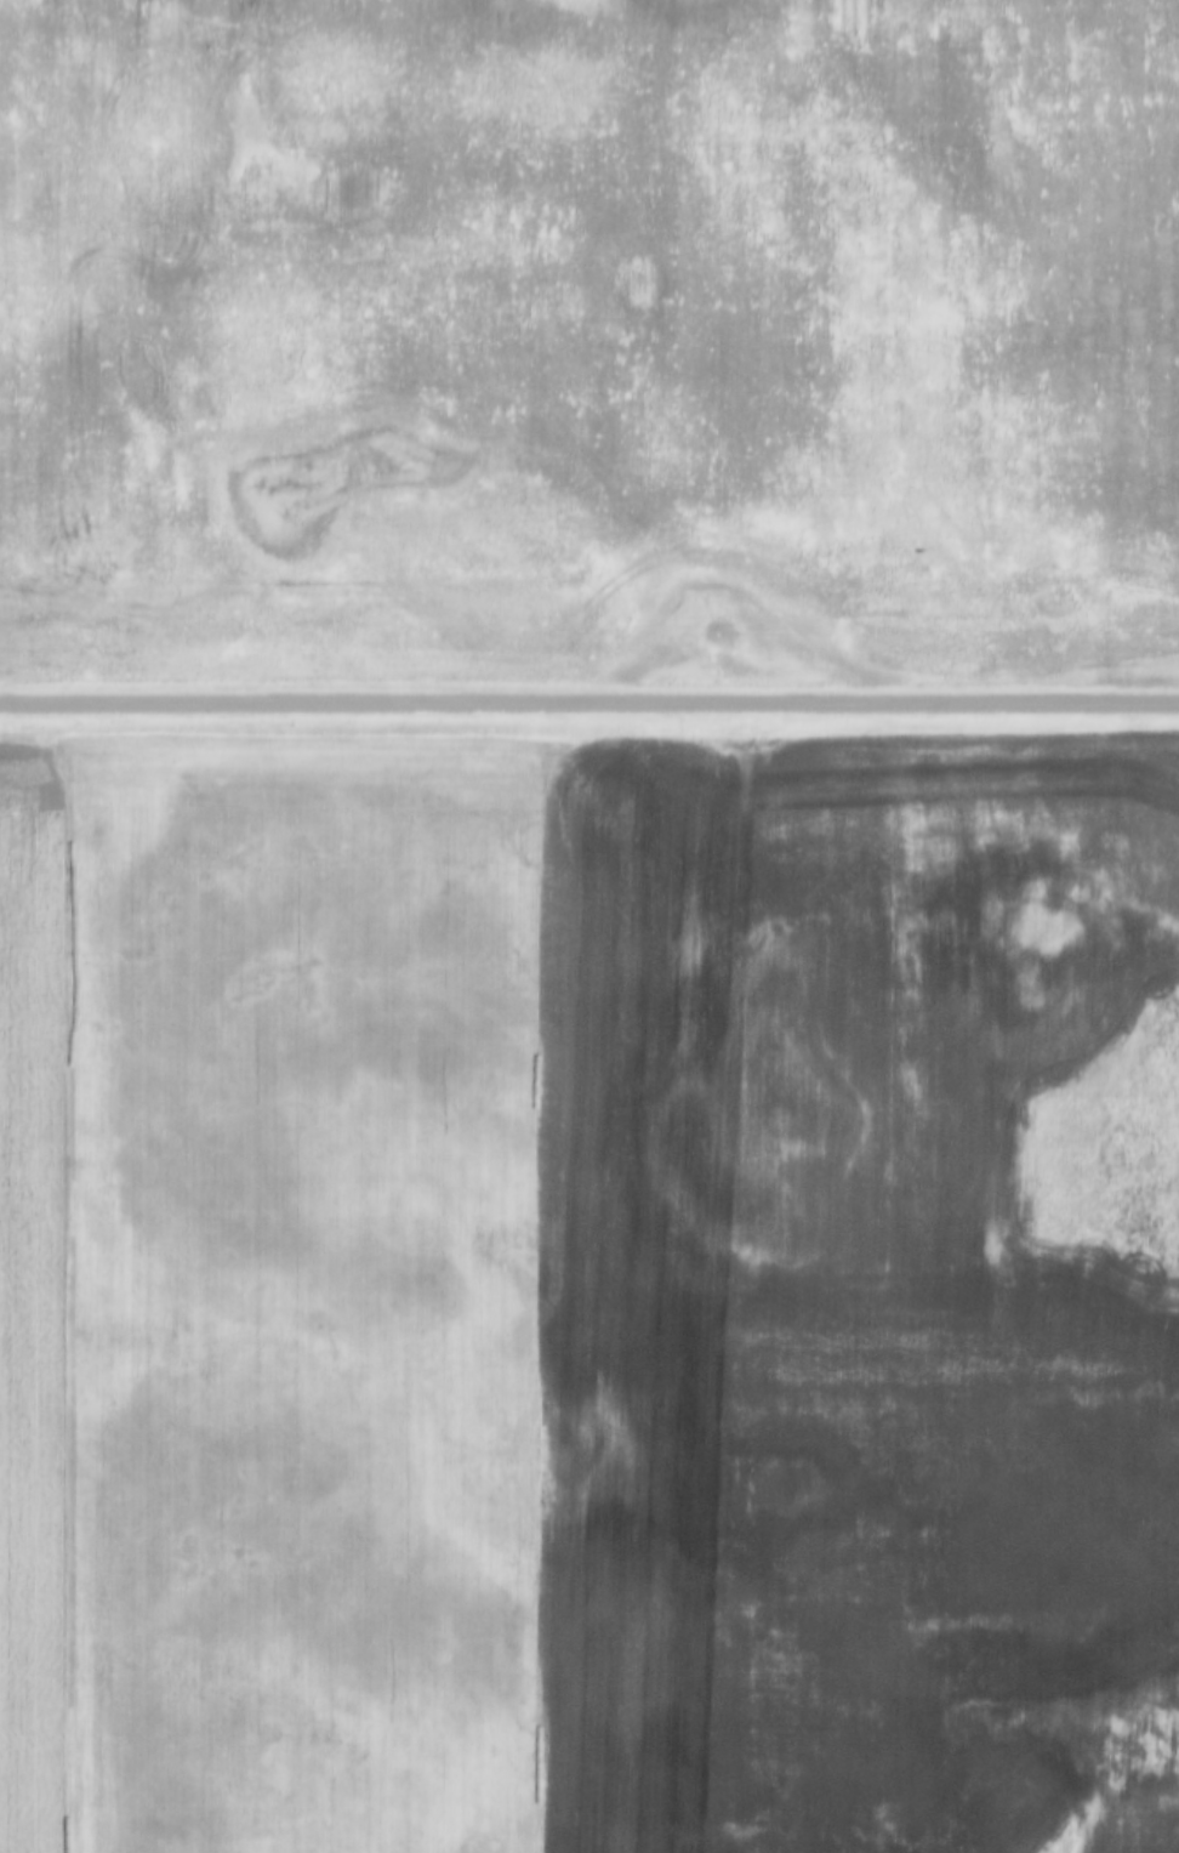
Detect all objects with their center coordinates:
road: (588, 698)

